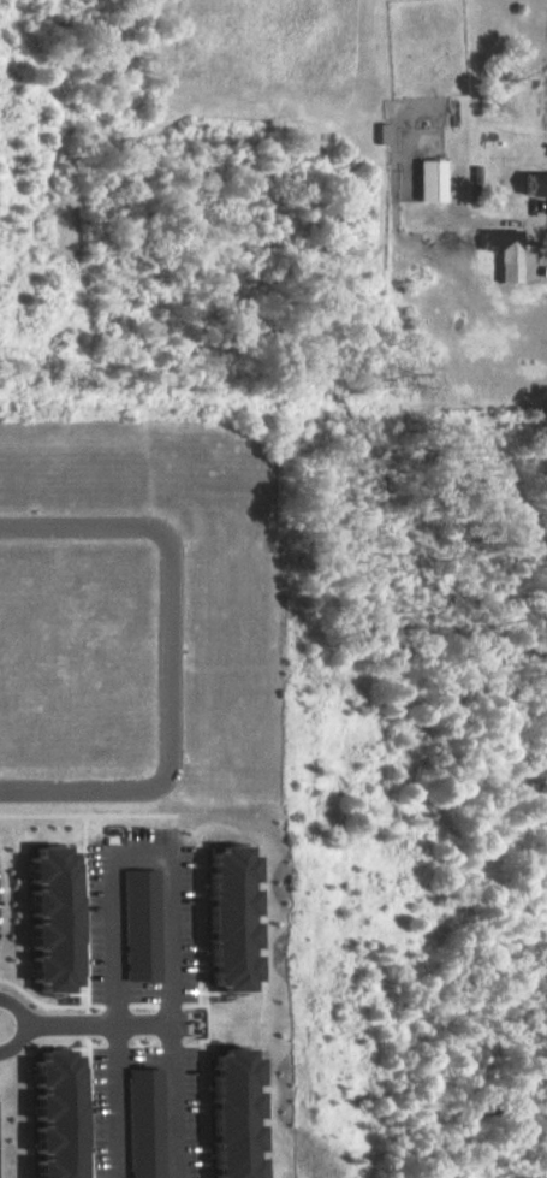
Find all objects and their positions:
building: (428, 180)
building: (533, 184)
building: (503, 251)
road: (170, 658)
building: (227, 919)
building: (47, 921)
building: (130, 929)
building: (228, 1115)
building: (49, 1117)
building: (132, 1127)

